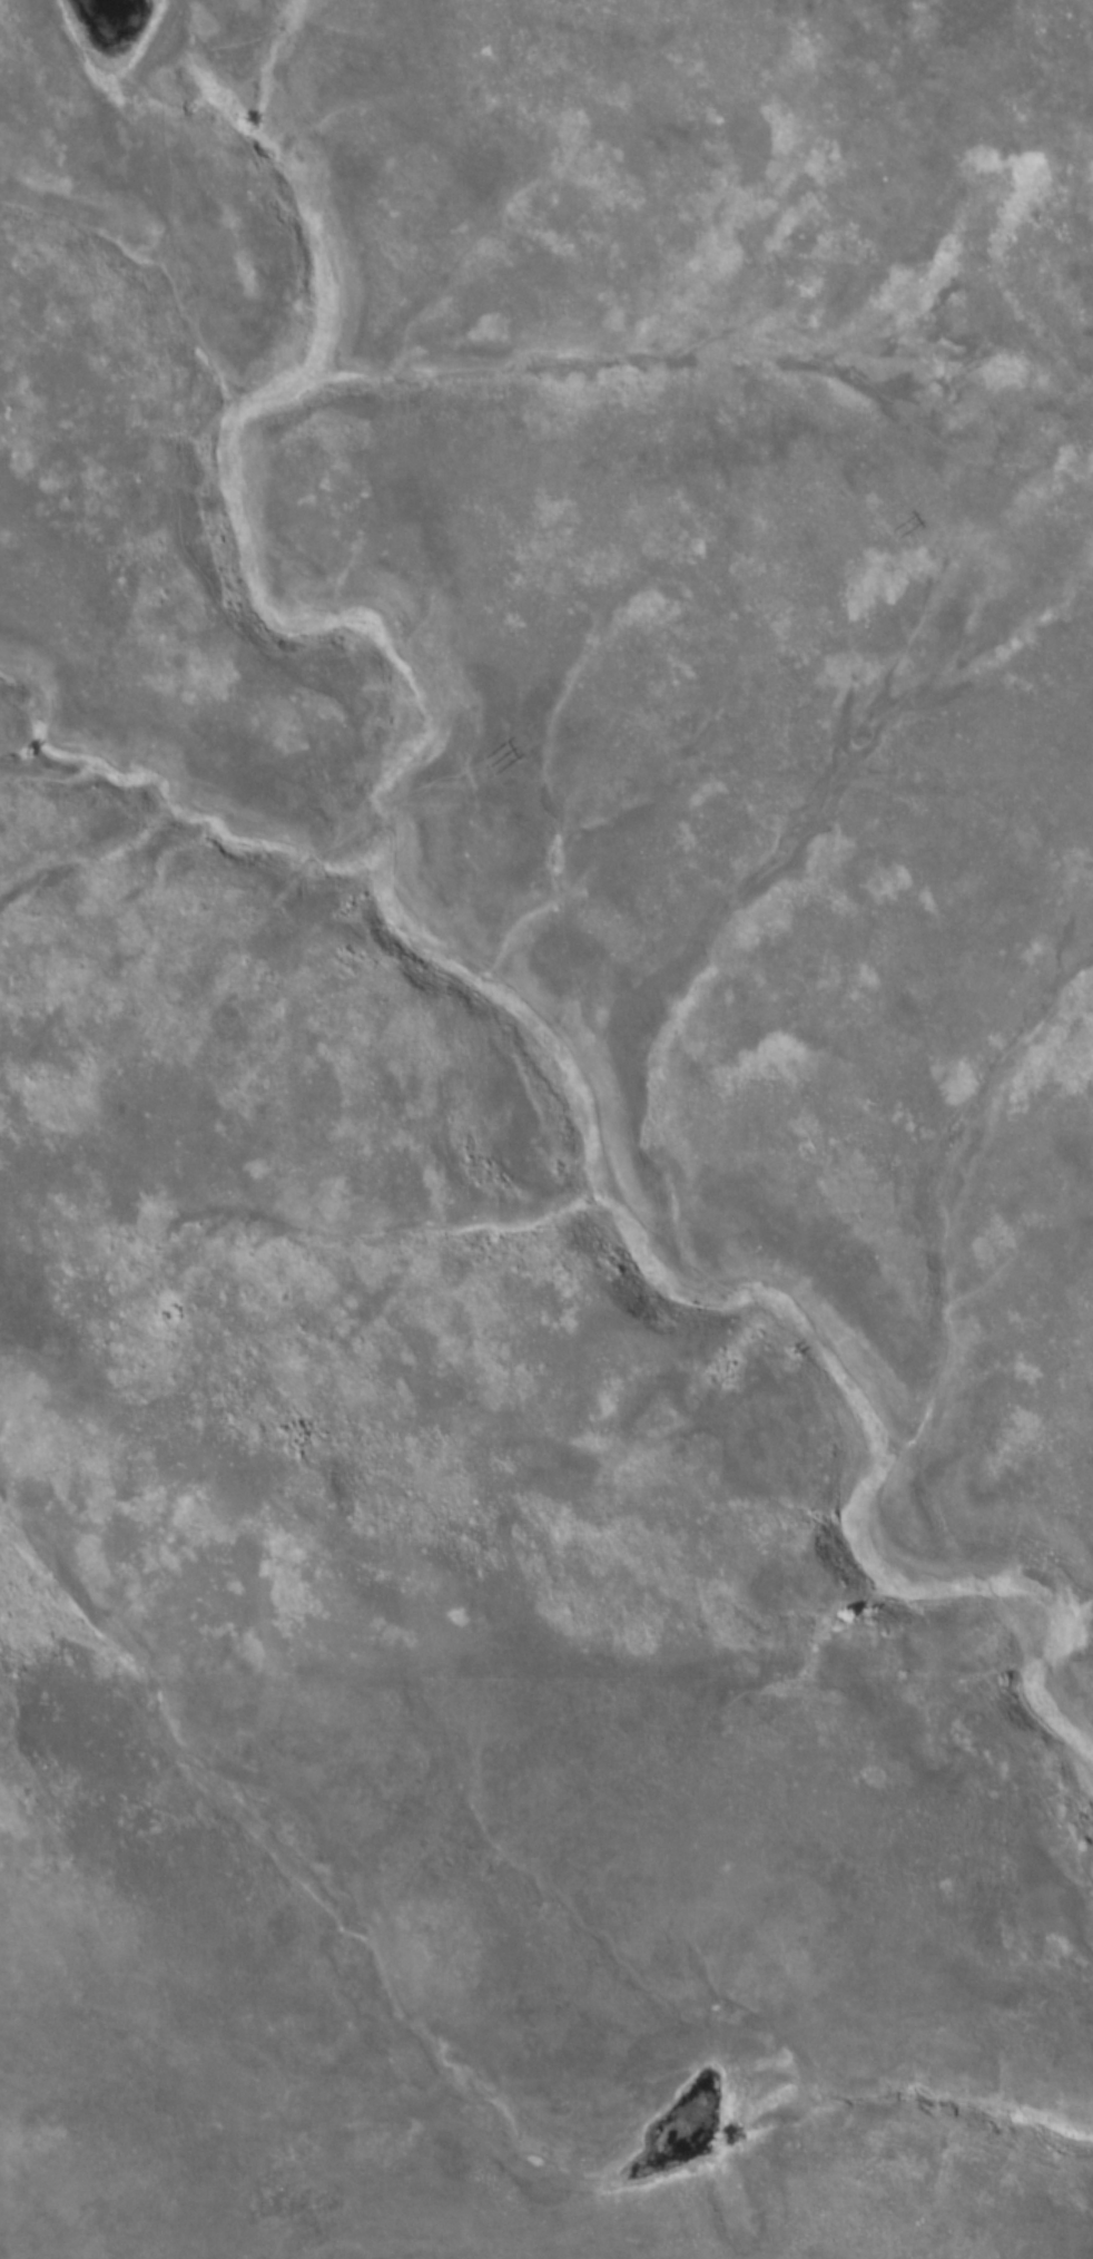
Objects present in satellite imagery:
power tower: (897, 537)
power tower: (489, 766)

